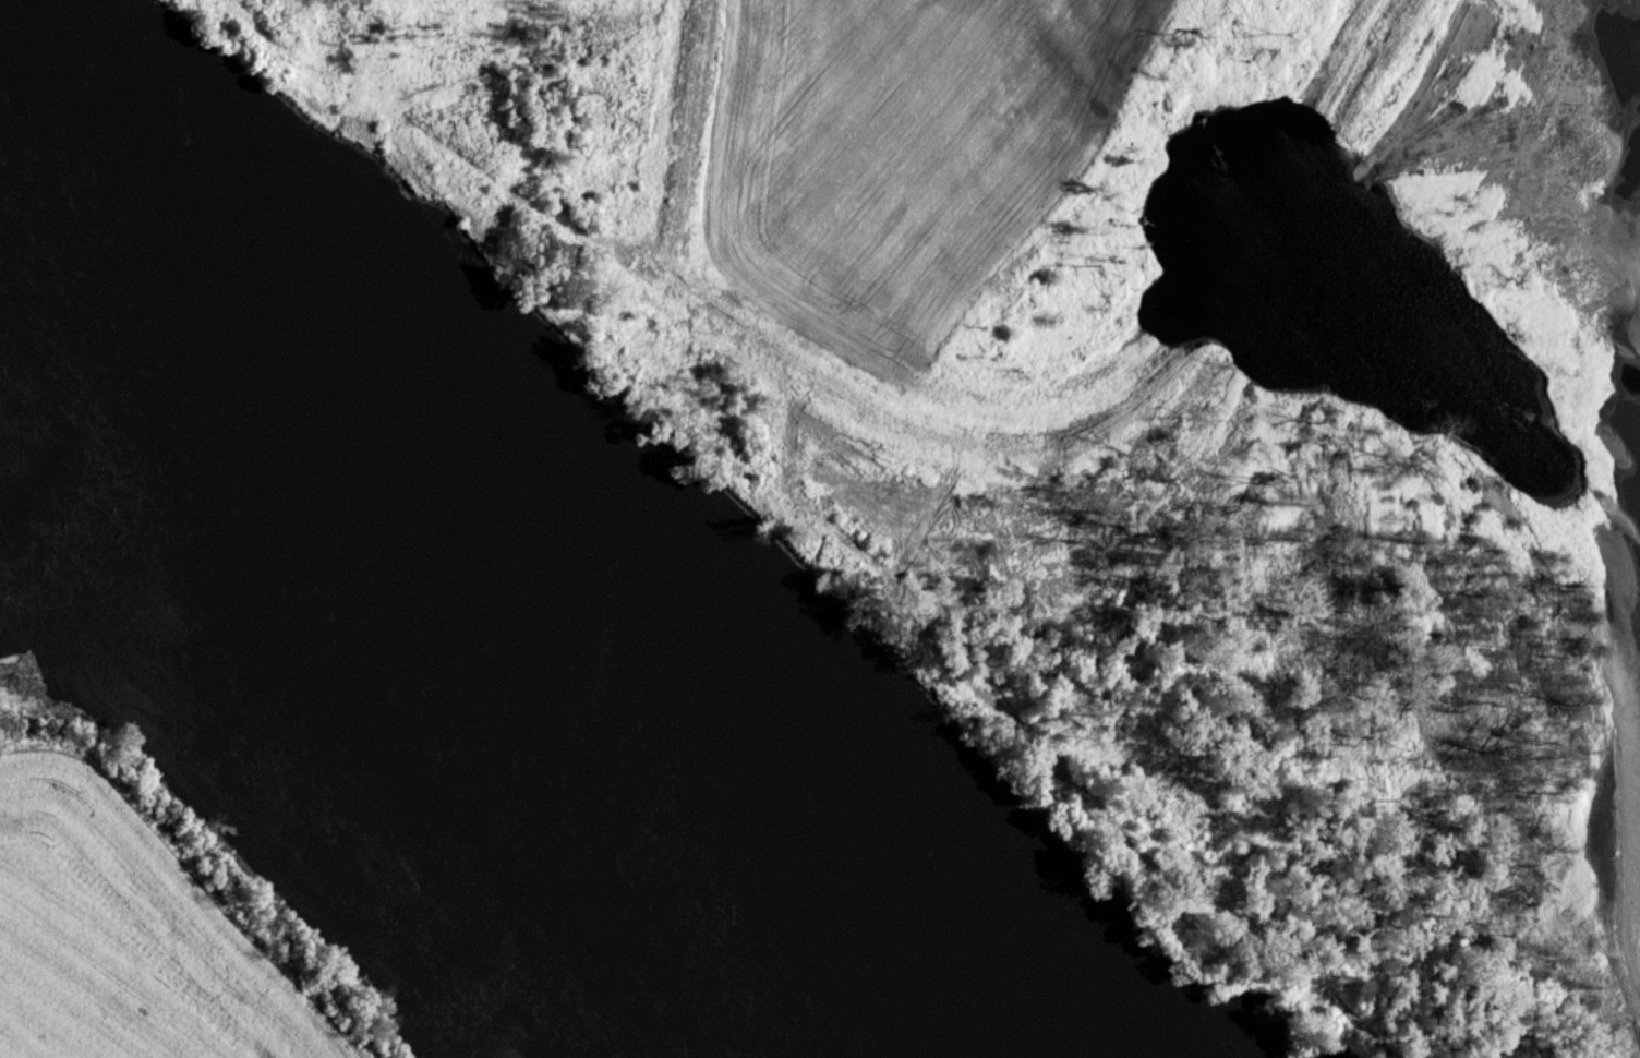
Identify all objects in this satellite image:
river: (469, 649)

